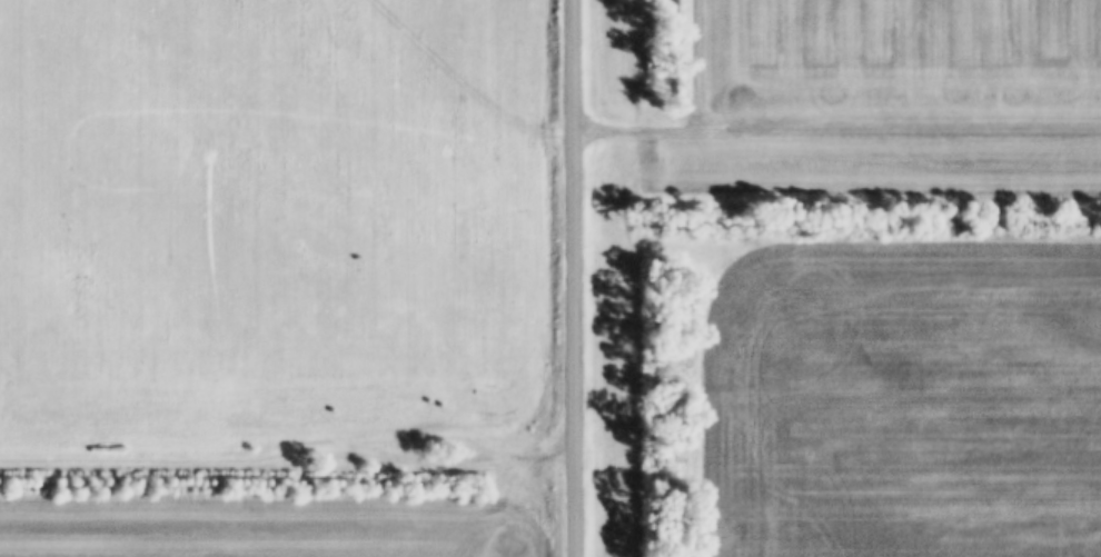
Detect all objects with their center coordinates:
road: (835, 126)
road: (571, 278)

